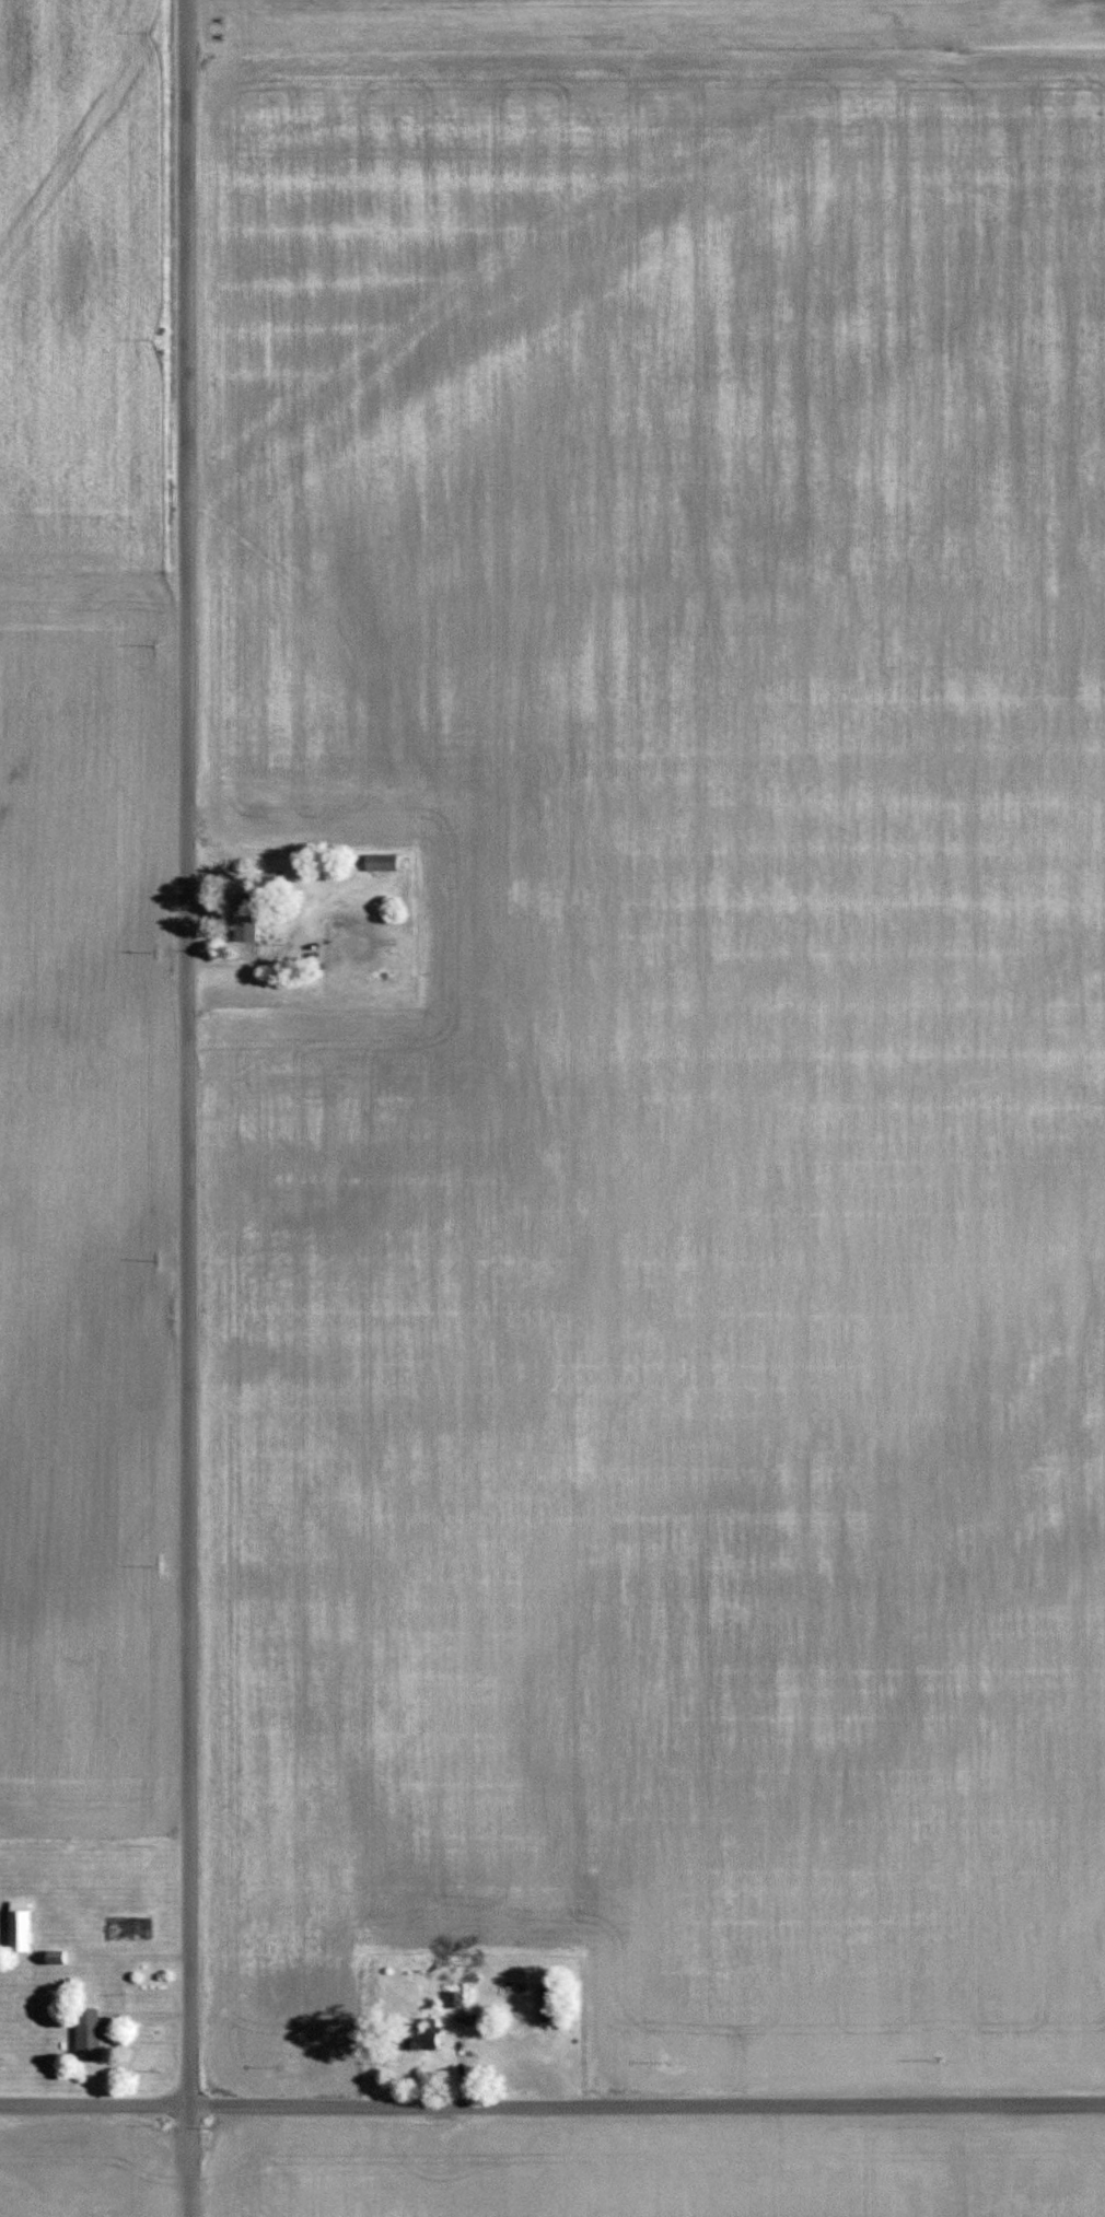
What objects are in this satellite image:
building: (382, 861)
building: (245, 915)
road: (249, 958)
road: (193, 1108)
building: (20, 1927)
building: (56, 1957)
building: (10, 1970)
building: (454, 1998)
building: (549, 2002)
building: (89, 2034)
building: (423, 2037)
road: (551, 2107)

